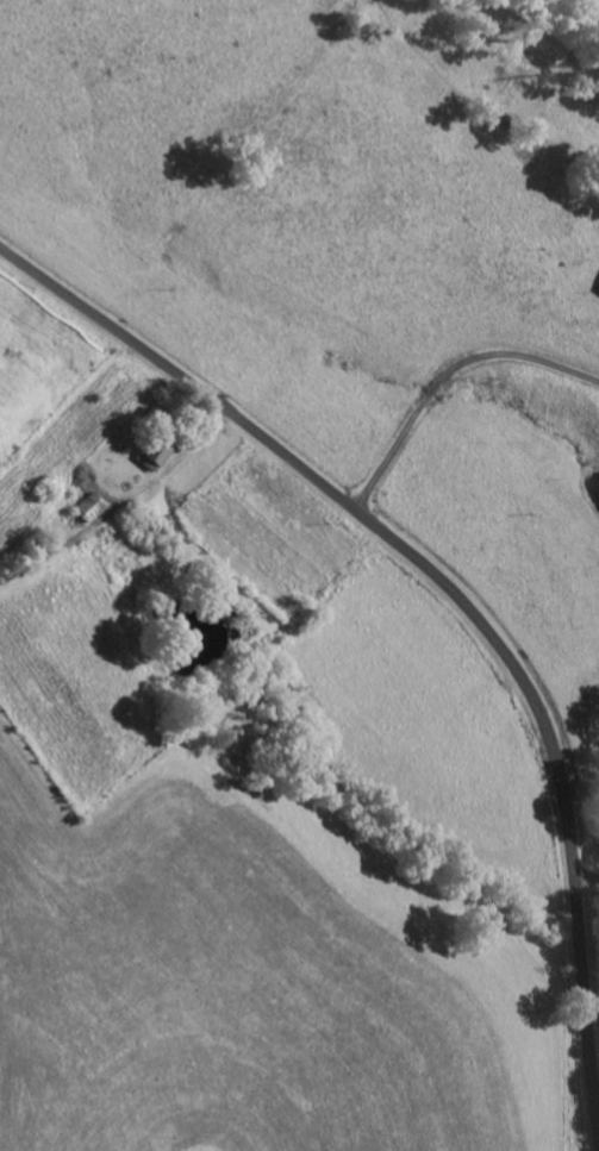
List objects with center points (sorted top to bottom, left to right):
road: (447, 375)
building: (156, 457)
road: (461, 599)

